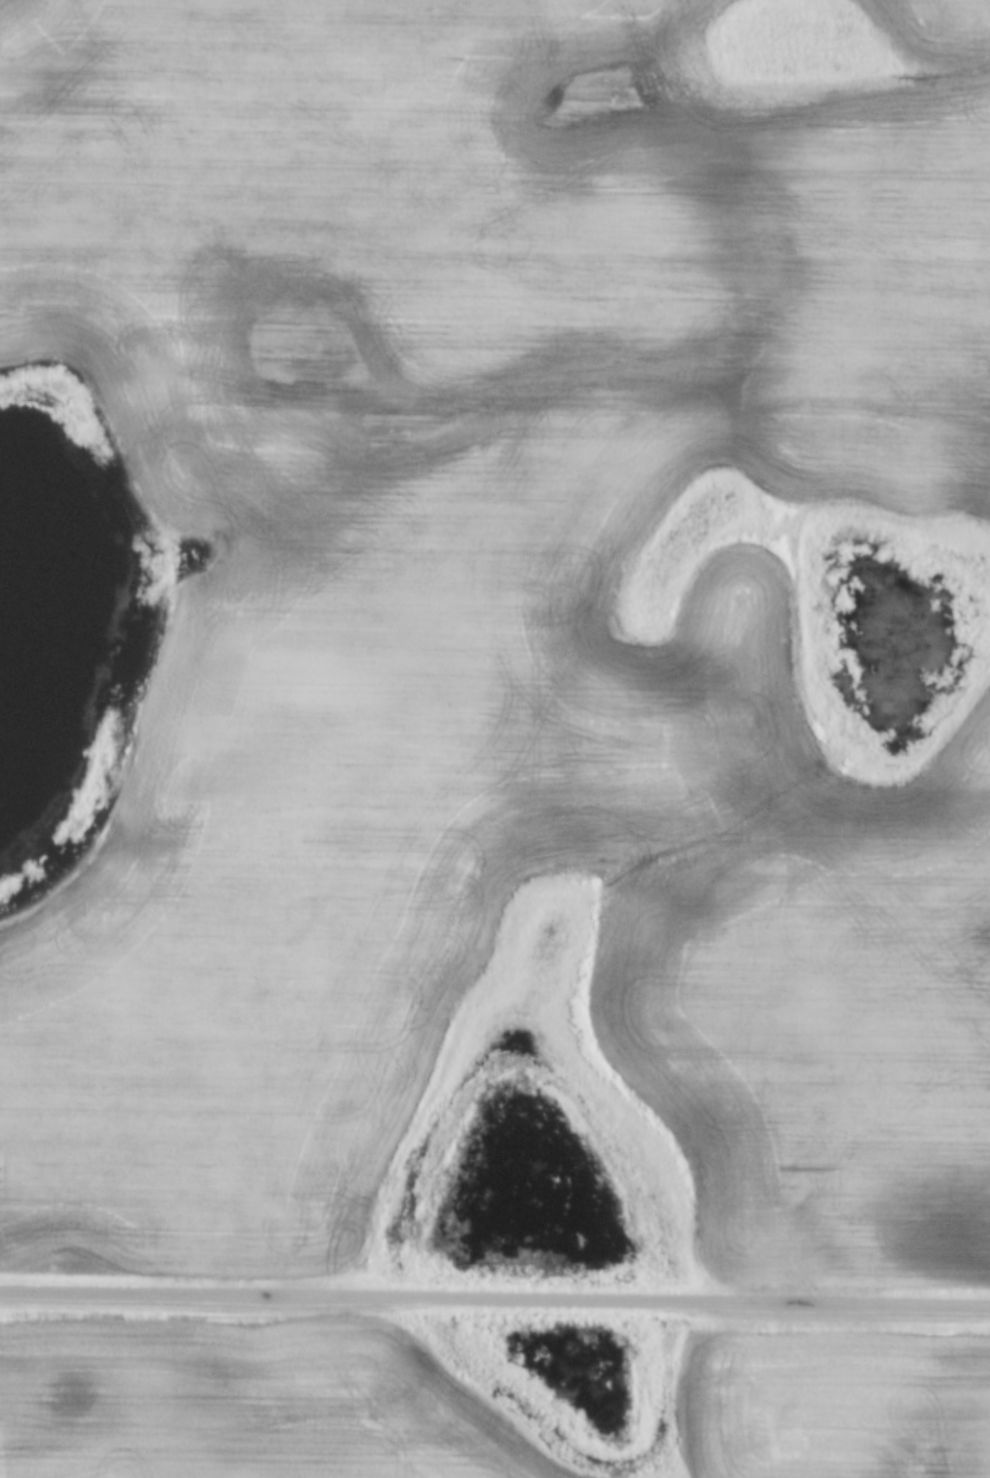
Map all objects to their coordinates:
road: (495, 1303)

